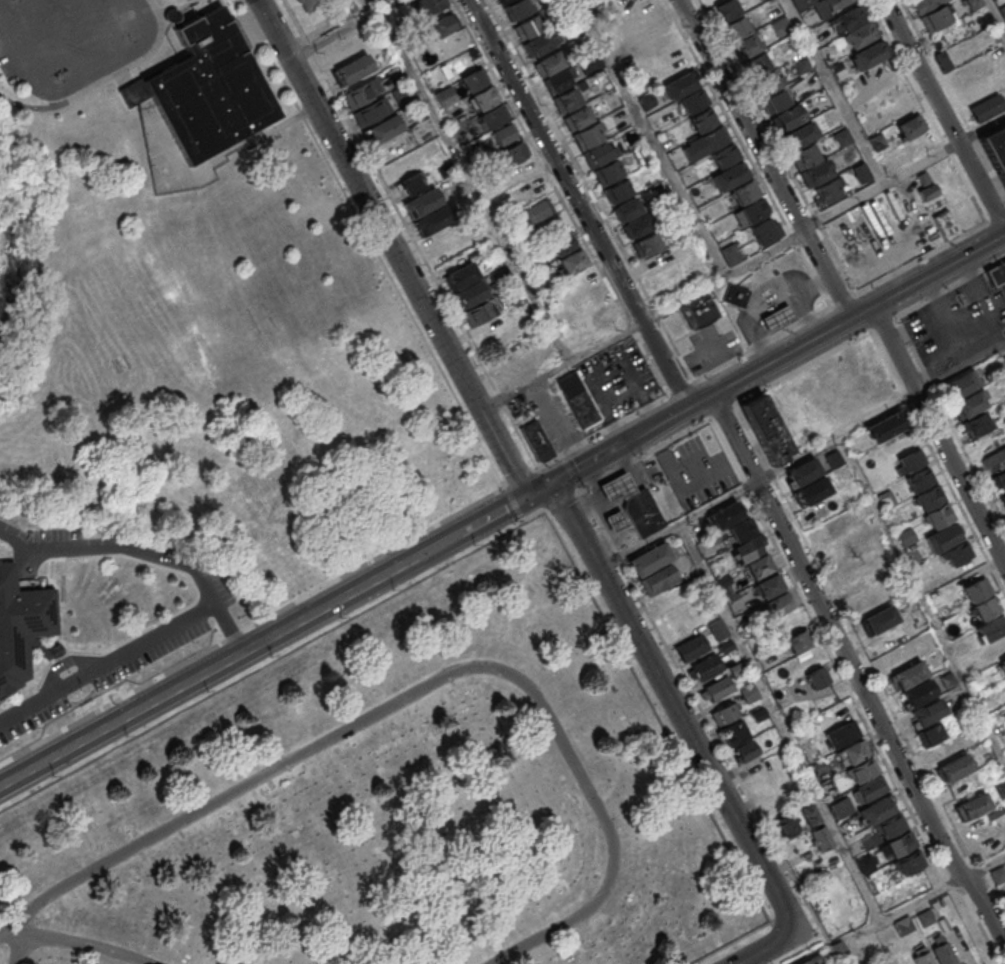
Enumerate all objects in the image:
building: (501, 1)
building: (629, 1)
building: (972, 3)
building: (309, 4)
building: (836, 4)
building: (925, 5)
building: (424, 6)
building: (773, 8)
road: (177, 9)
building: (516, 9)
building: (726, 9)
road: (19, 10)
road: (997, 14)
building: (649, 18)
building: (848, 18)
building: (935, 18)
building: (569, 24)
building: (442, 25)
building: (529, 26)
building: (780, 26)
building: (737, 27)
road: (342, 29)
road: (99, 30)
building: (862, 34)
road: (58, 40)
parking lot: (69, 42)
building: (538, 43)
building: (747, 45)
building: (659, 49)
building: (869, 55)
building: (549, 63)
building: (588, 63)
building: (756, 64)
building: (803, 66)
building: (835, 68)
building: (351, 69)
building: (393, 72)
building: (474, 79)
road: (81, 80)
road: (105, 80)
building: (556, 81)
building: (766, 83)
building: (679, 85)
building: (202, 89)
road: (835, 91)
building: (362, 92)
building: (446, 96)
building: (484, 97)
building: (566, 99)
building: (646, 100)
building: (776, 100)
building: (694, 101)
building: (987, 107)
building: (371, 111)
road: (740, 114)
road: (943, 114)
building: (493, 116)
building: (789, 117)
building: (576, 118)
building: (703, 120)
building: (910, 126)
building: (383, 130)
building: (503, 134)
building: (799, 134)
building: (587, 136)
road: (651, 137)
building: (842, 137)
building: (705, 142)
building: (877, 142)
building: (996, 148)
building: (514, 153)
building: (599, 154)
building: (640, 154)
building: (805, 154)
building: (725, 155)
building: (606, 172)
building: (816, 172)
building: (861, 172)
road: (903, 172)
building: (730, 175)
building: (411, 184)
road: (474, 186)
building: (925, 186)
building: (829, 189)
road: (589, 190)
building: (616, 191)
building: (745, 191)
building: (422, 202)
road: (578, 203)
building: (627, 209)
building: (538, 210)
building: (750, 213)
building: (432, 220)
building: (944, 223)
building: (636, 226)
building: (764, 230)
road: (409, 232)
building: (444, 238)
building: (562, 243)
building: (645, 244)
road: (393, 247)
road: (930, 252)
building: (730, 254)
building: (494, 255)
building: (573, 261)
road: (826, 272)
building: (501, 273)
building: (996, 273)
building: (461, 275)
road: (950, 287)
building: (470, 294)
building: (735, 295)
road: (844, 299)
park: (202, 308)
building: (598, 310)
building: (699, 311)
building: (479, 312)
building: (1004, 317)
building: (778, 319)
road: (643, 322)
parking lot: (956, 324)
road: (882, 325)
road: (688, 327)
road: (763, 344)
parking lot: (711, 348)
building: (545, 352)
road: (1002, 352)
road: (766, 364)
road: (802, 369)
building: (514, 373)
building: (855, 376)
building: (962, 383)
road: (680, 388)
parking lot: (591, 394)
building: (577, 398)
building: (972, 403)
road: (723, 411)
building: (976, 424)
building: (886, 426)
road: (602, 429)
building: (766, 429)
road: (939, 435)
building: (537, 440)
road: (647, 453)
road: (800, 454)
building: (834, 458)
building: (911, 460)
building: (994, 460)
road: (571, 470)
building: (803, 472)
road: (521, 474)
building: (1001, 478)
building: (920, 479)
traffic signals: (551, 483)
building: (618, 488)
building: (814, 491)
traffic signals: (528, 496)
building: (931, 497)
building: (1003, 497)
road: (564, 498)
building: (886, 498)
road: (514, 502)
road: (535, 514)
building: (642, 514)
building: (726, 515)
building: (940, 516)
building: (615, 520)
building: (740, 530)
building: (906, 537)
building: (943, 537)
building: (748, 548)
road: (146, 553)
building: (957, 553)
road: (381, 555)
building: (649, 559)
building: (758, 567)
building: (658, 580)
building: (770, 585)
building: (856, 587)
building: (977, 590)
road: (921, 597)
building: (780, 604)
building: (986, 607)
building: (879, 619)
building: (787, 622)
building: (22, 628)
building: (718, 628)
building: (991, 628)
road: (264, 641)
building: (797, 641)
building: (726, 646)
building: (690, 648)
road: (108, 662)
building: (1003, 664)
building: (706, 666)
building: (736, 668)
road: (854, 673)
building: (909, 674)
building: (818, 676)
building: (947, 679)
road: (420, 689)
building: (716, 689)
building: (749, 693)
building: (917, 693)
building: (927, 710)
building: (724, 713)
building: (759, 714)
building: (1004, 714)
road: (780, 721)
road: (686, 728)
building: (734, 733)
building: (930, 733)
building: (842, 734)
building: (746, 750)
building: (855, 751)
building: (819, 766)
building: (955, 767)
building: (863, 771)
building: (870, 789)
building: (1000, 789)
park: (395, 801)
building: (972, 806)
building: (877, 810)
building: (810, 815)
building: (785, 824)
building: (890, 825)
building: (822, 837)
building: (900, 843)
building: (865, 863)
building: (909, 863)
building: (998, 874)
road: (912, 903)
building: (935, 904)
building: (925, 917)
building: (904, 925)
road: (68, 938)
building: (838, 947)
building: (943, 953)
building: (923, 958)
building: (811, 960)

